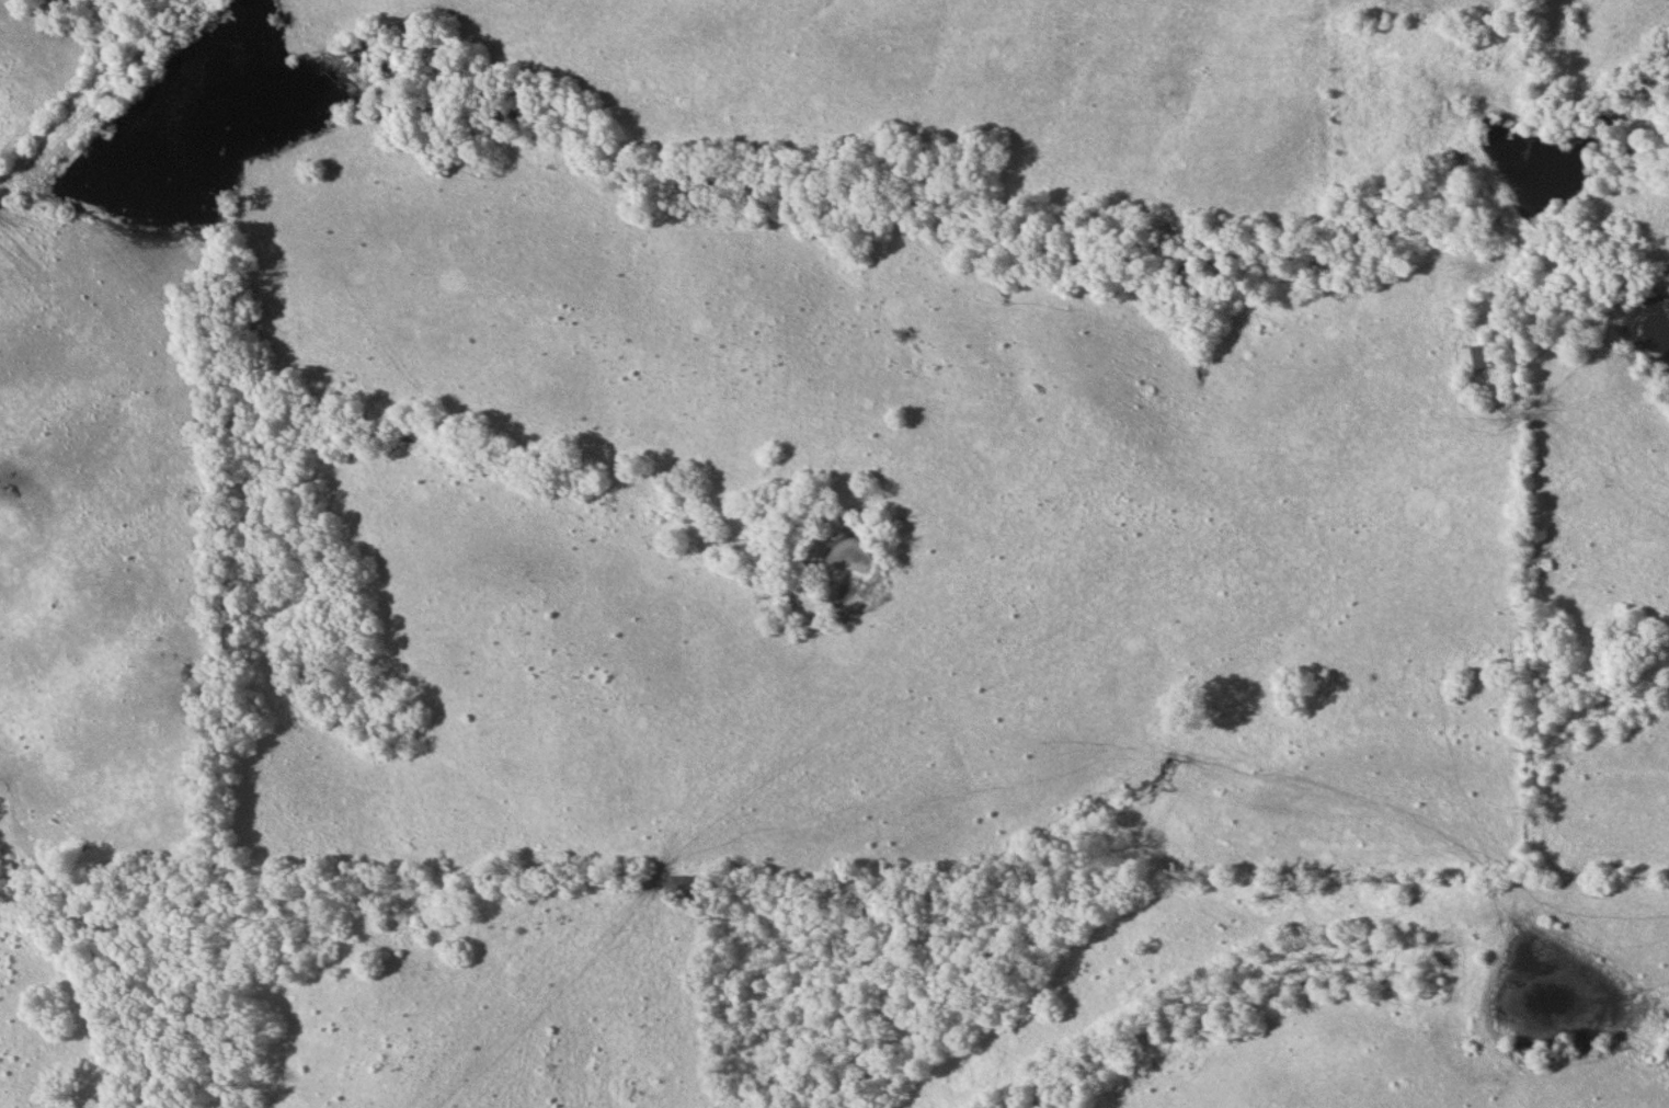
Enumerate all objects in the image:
road: (1471, 140)
building: (1478, 357)
building: (685, 889)

